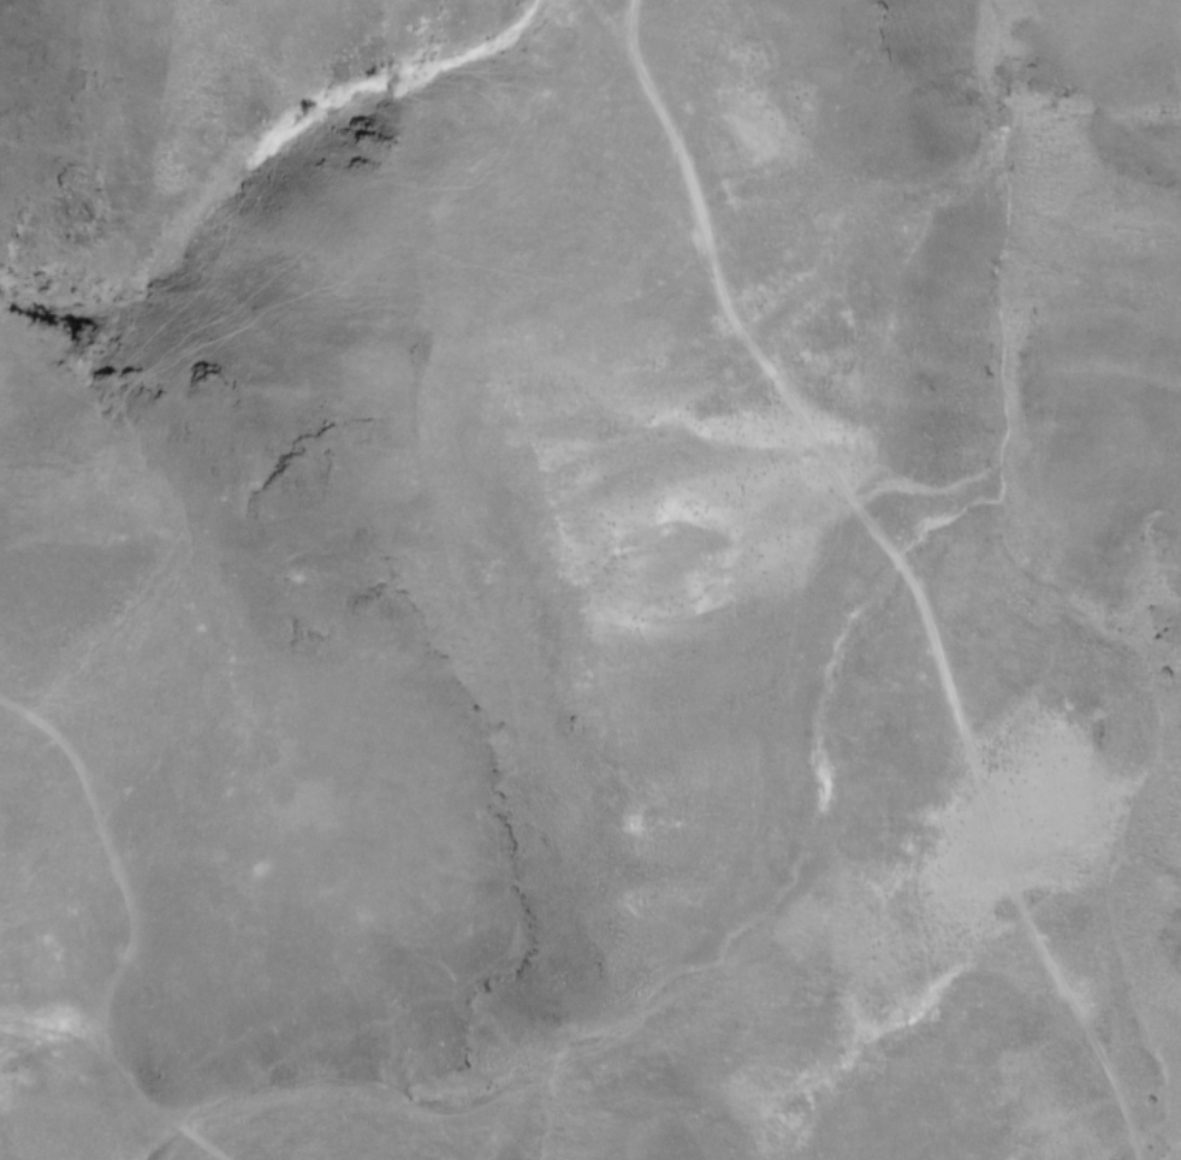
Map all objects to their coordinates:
road: (605, 19)
road: (900, 567)
road: (131, 935)
road: (304, 1107)

